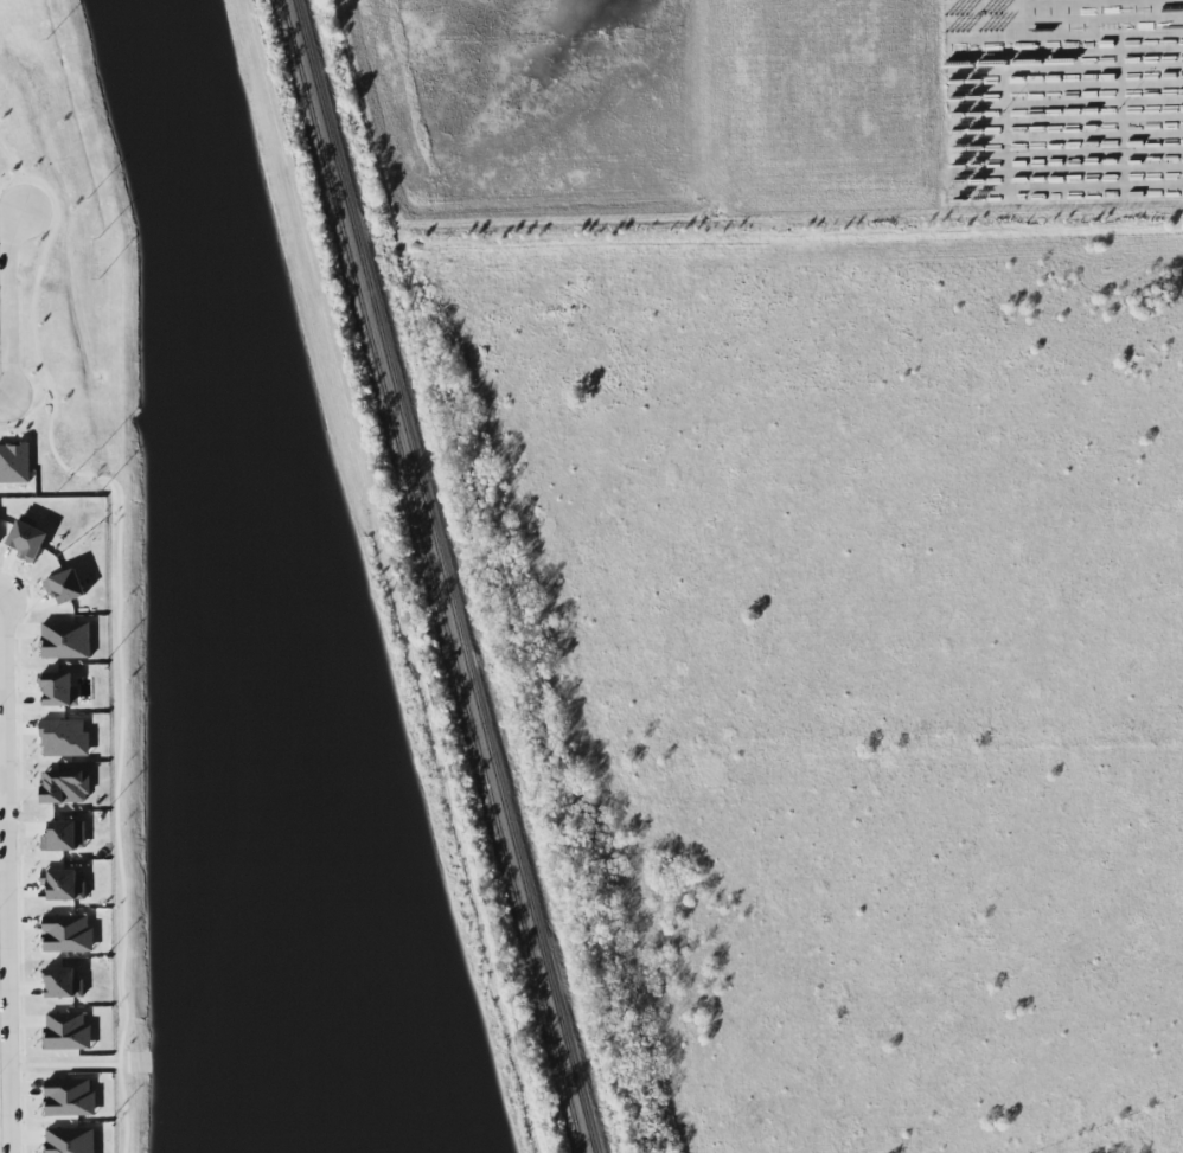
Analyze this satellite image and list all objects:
road: (32, 306)
road: (7, 309)
road: (4, 405)
road: (27, 416)
road: (0, 425)
building: (14, 463)
building: (27, 540)
railway: (446, 576)
building: (65, 587)
building: (66, 640)
building: (59, 690)
building: (65, 738)
building: (65, 787)
building: (65, 837)
road: (6, 878)
building: (64, 884)
building: (68, 934)
building: (64, 984)
building: (68, 1032)
building: (70, 1098)
building: (71, 1140)

